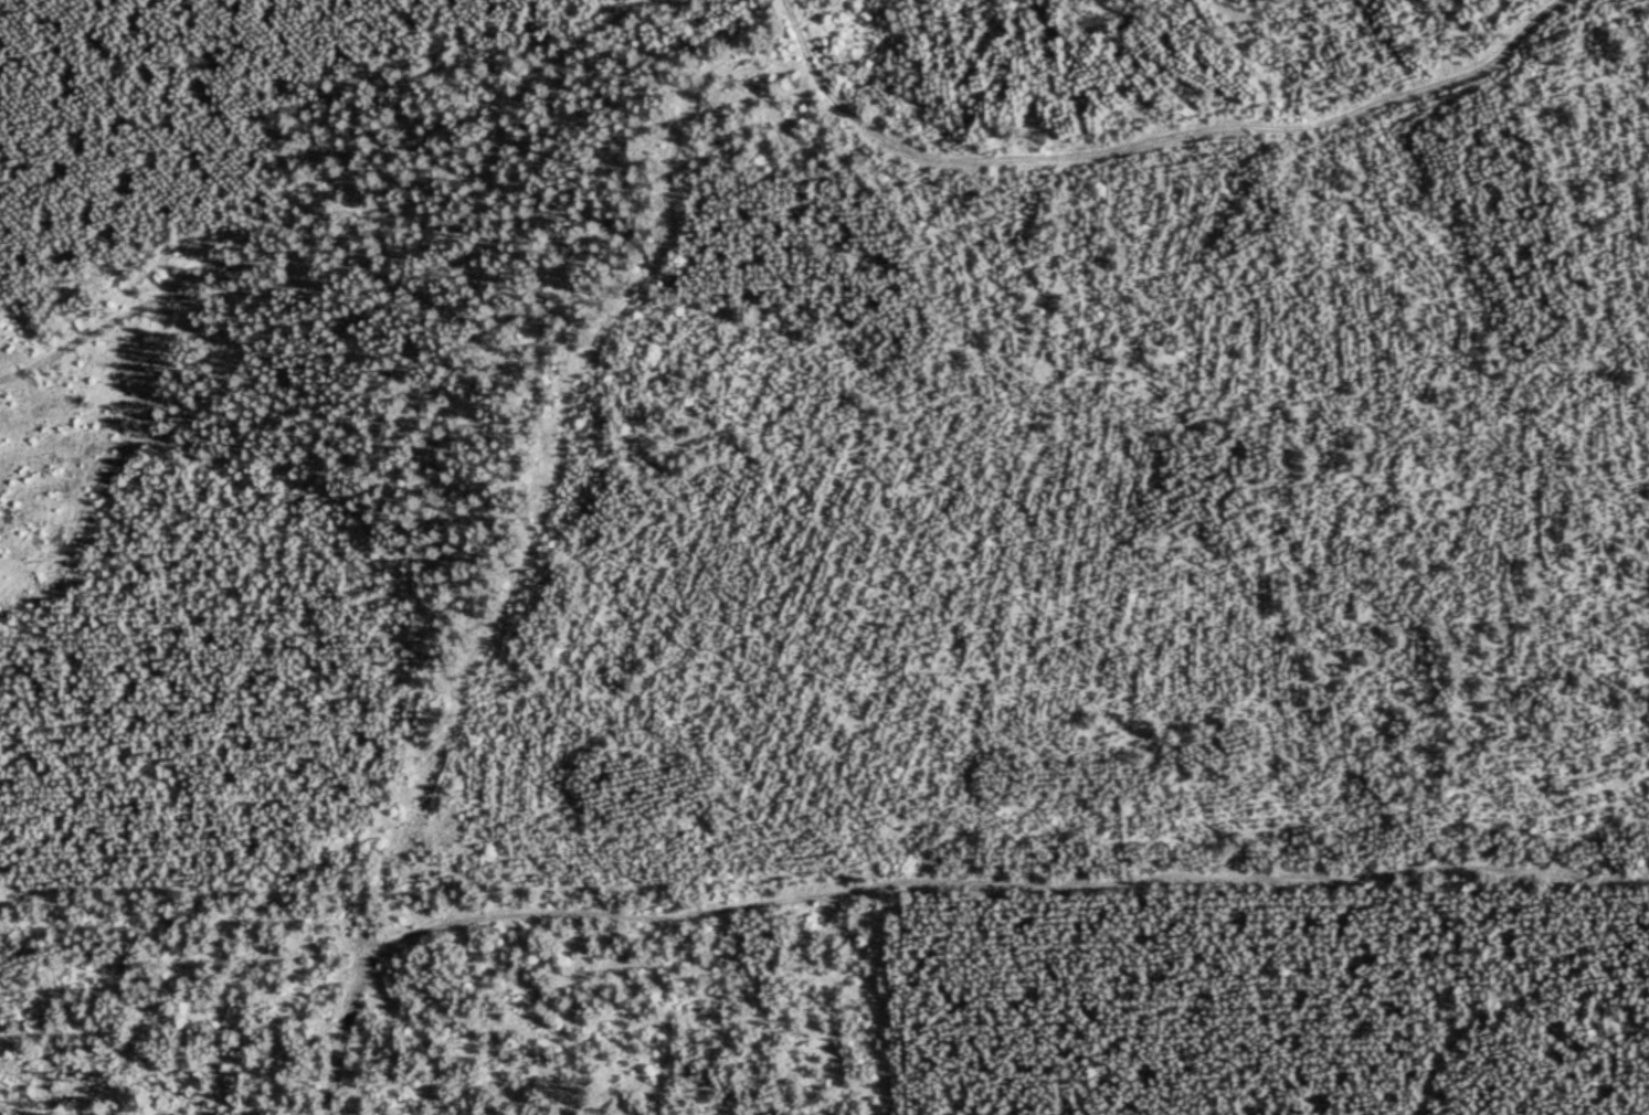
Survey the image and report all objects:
road: (797, 33)
road: (677, 162)
road: (347, 216)
road: (1000, 878)

